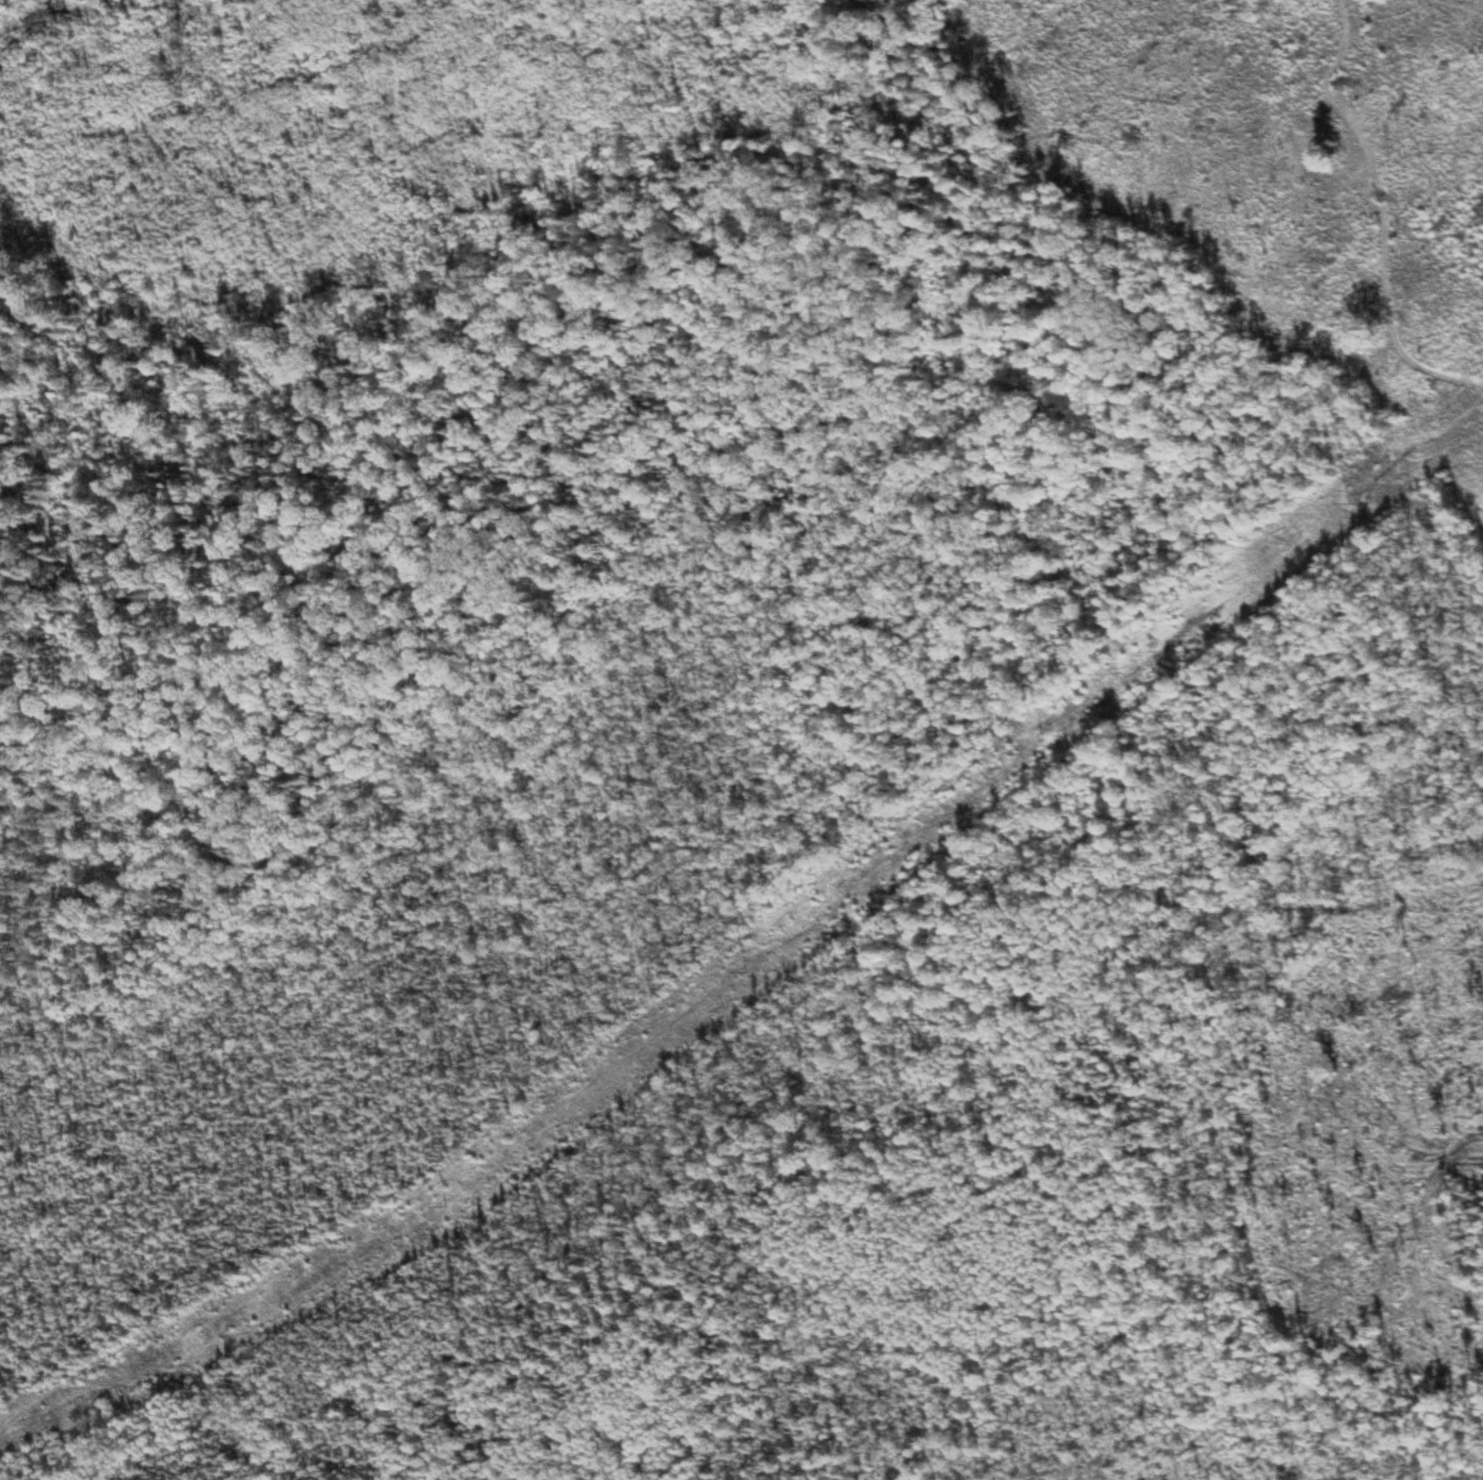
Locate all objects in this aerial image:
road: (1379, 215)

